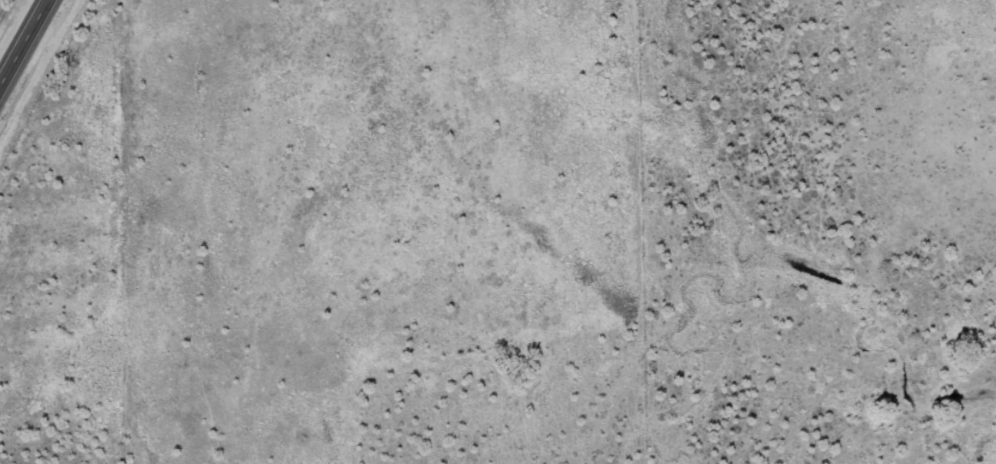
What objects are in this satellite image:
road: (23, 42)

